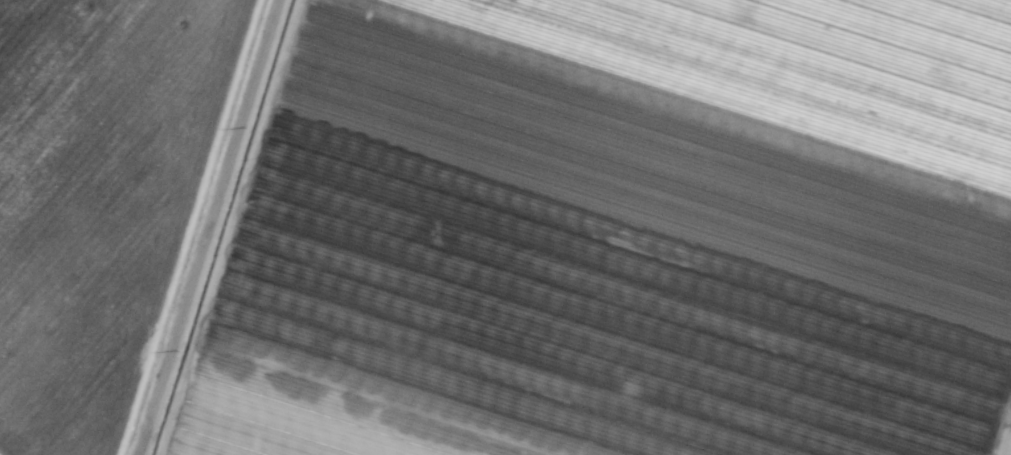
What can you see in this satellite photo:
road: (181, 227)
road: (207, 227)
crop: (505, 227)
road: (1005, 437)

